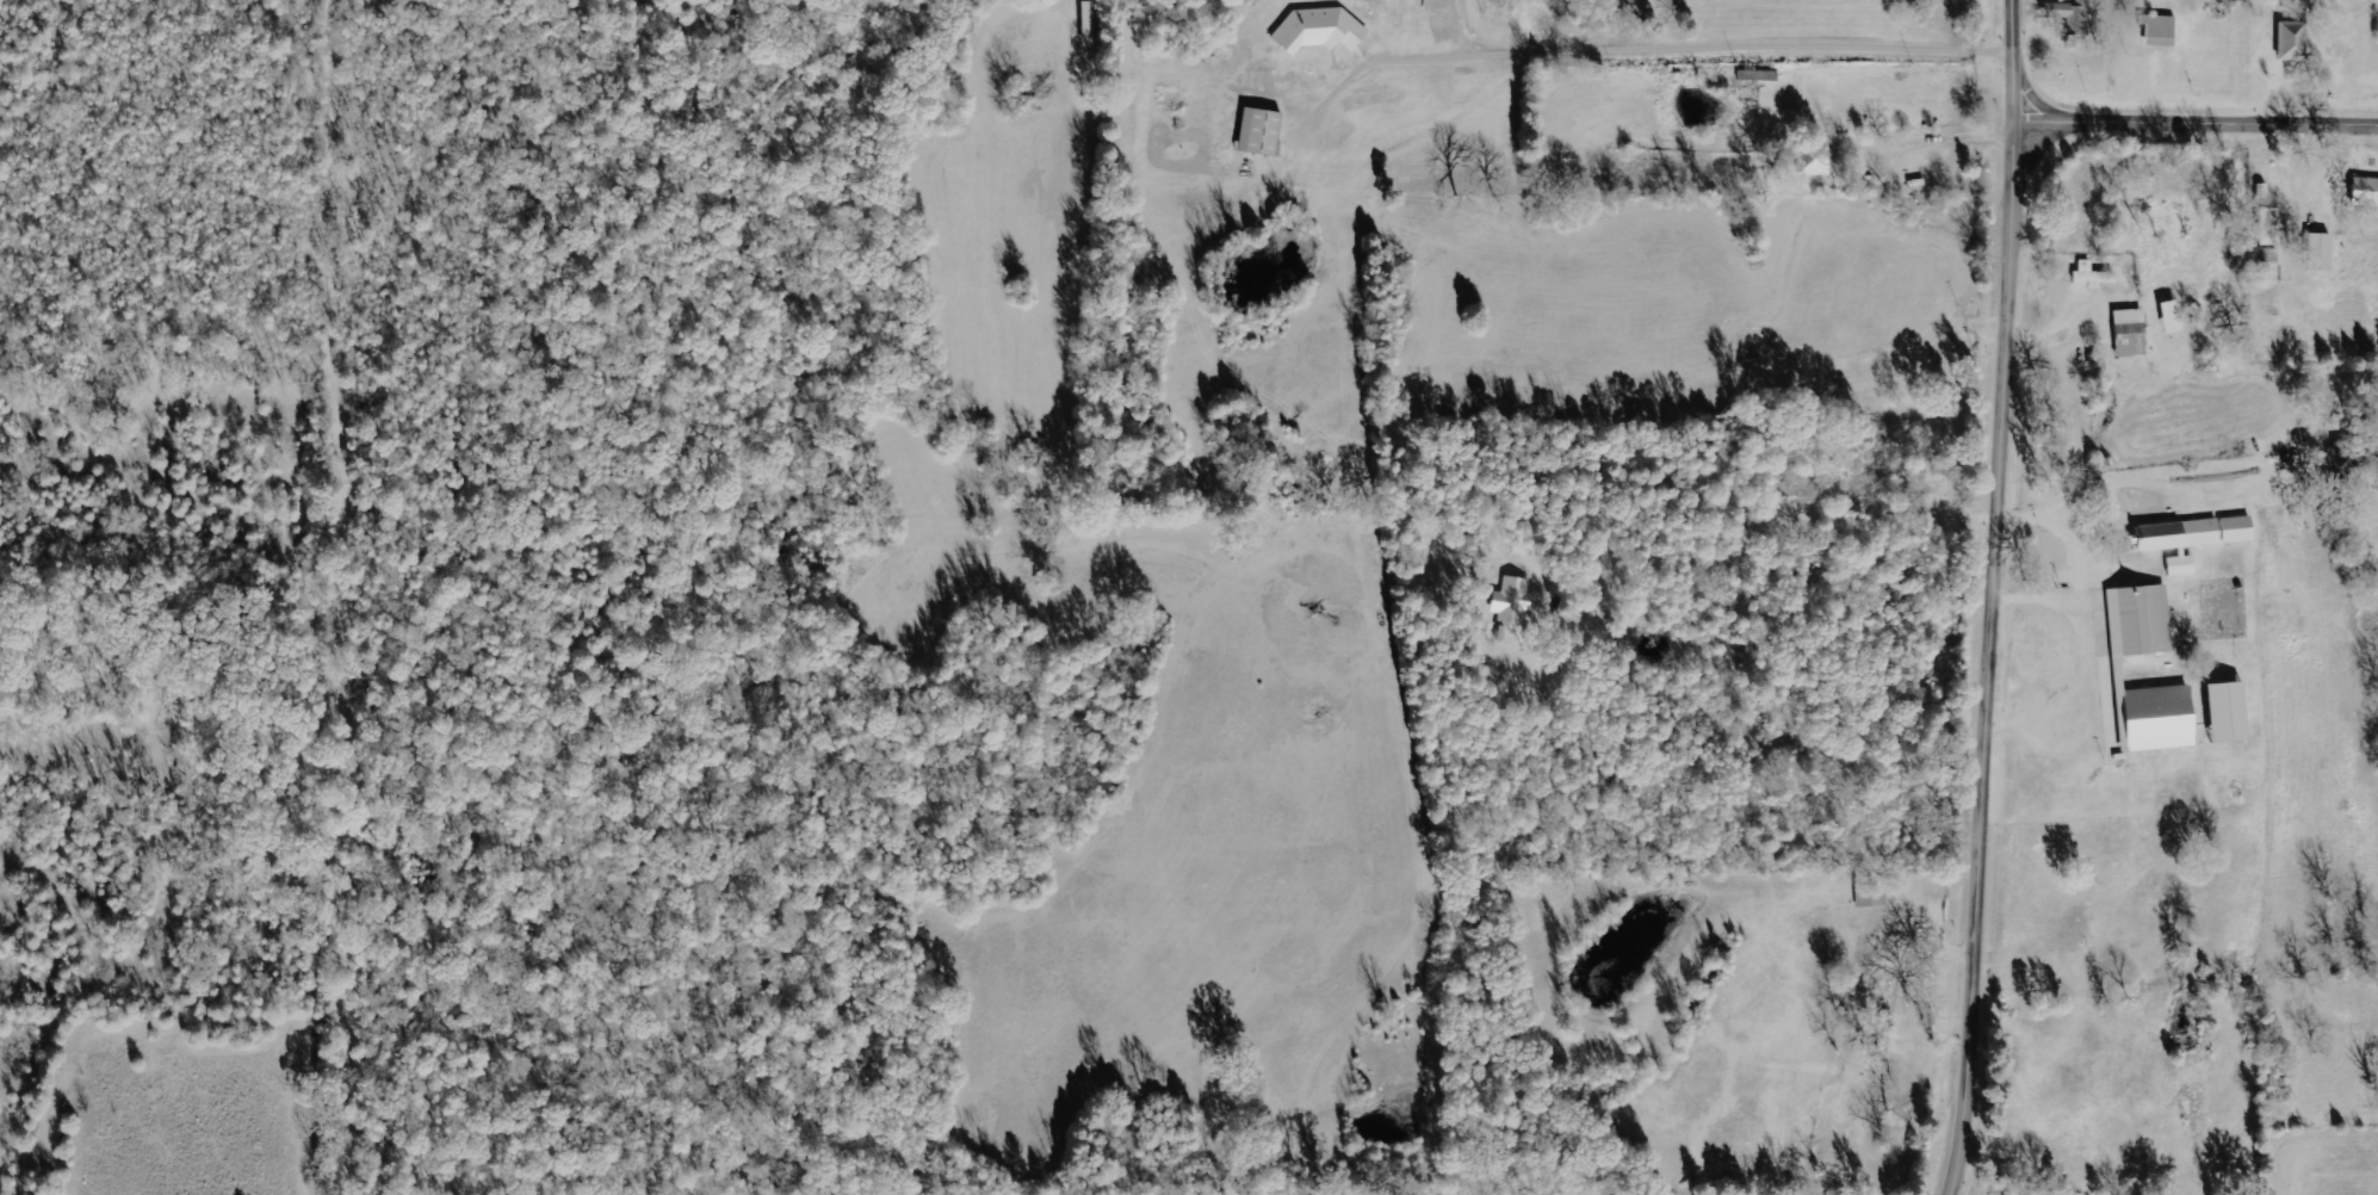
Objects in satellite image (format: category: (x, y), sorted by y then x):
building: (2069, 17)
building: (1315, 31)
building: (2156, 32)
road: (1720, 43)
building: (2286, 48)
road: (1437, 56)
road: (2012, 62)
building: (1256, 132)
building: (1810, 163)
building: (2364, 193)
building: (2266, 229)
building: (2315, 254)
building: (2089, 278)
building: (2167, 318)
building: (2126, 335)
road: (1998, 477)
building: (2187, 539)
building: (1511, 601)
building: (2108, 673)
road: (2130, 705)
building: (2223, 713)
building: (1870, 896)

